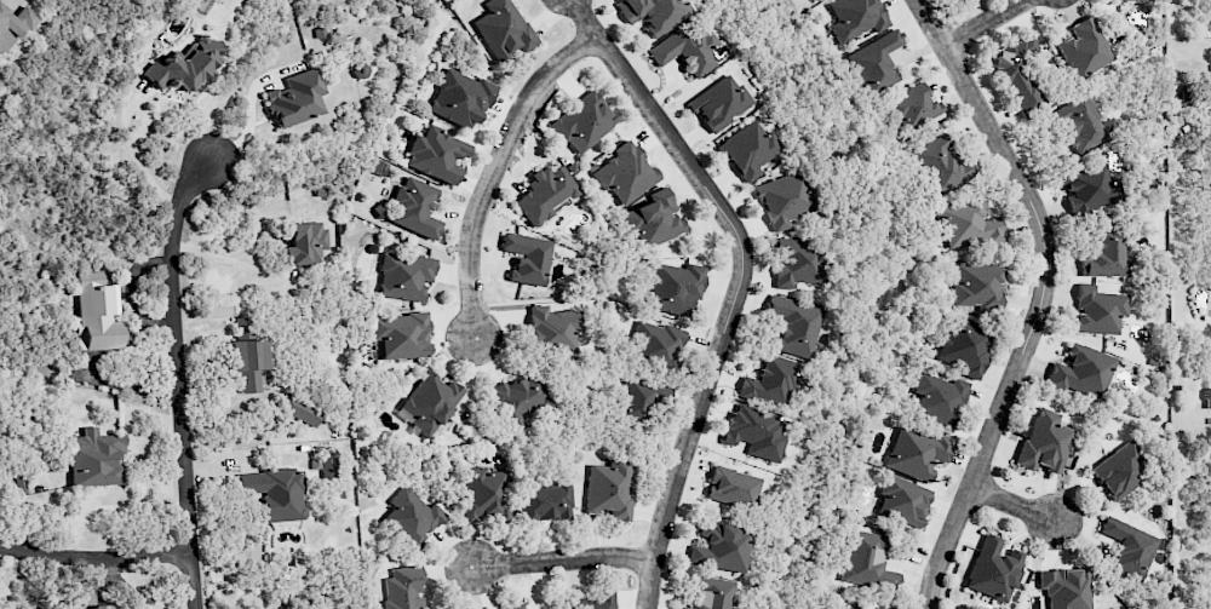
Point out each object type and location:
building: (957, 0)
building: (1133, 0)
building: (653, 13)
building: (856, 18)
building: (13, 24)
road: (991, 25)
building: (501, 28)
building: (1084, 48)
building: (687, 50)
building: (876, 62)
building: (185, 65)
building: (1018, 75)
building: (297, 98)
building: (459, 99)
building: (719, 102)
building: (912, 107)
road: (253, 119)
building: (582, 122)
building: (748, 150)
building: (436, 155)
road: (137, 163)
building: (941, 163)
road: (489, 170)
building: (625, 173)
building: (1087, 188)
building: (544, 194)
building: (786, 200)
building: (414, 206)
building: (654, 219)
building: (968, 224)
building: (304, 243)
building: (1104, 254)
building: (526, 258)
building: (797, 262)
building: (404, 276)
road: (740, 285)
building: (977, 286)
building: (672, 287)
road: (1048, 299)
building: (1098, 310)
building: (97, 316)
building: (241, 323)
building: (794, 326)
building: (552, 327)
building: (400, 335)
building: (655, 343)
building: (963, 346)
building: (247, 362)
building: (1083, 372)
road: (179, 377)
building: (1207, 380)
building: (771, 381)
building: (520, 398)
building: (939, 398)
building: (637, 400)
building: (429, 403)
building: (300, 409)
building: (756, 431)
building: (1043, 443)
building: (916, 452)
building: (94, 458)
building: (1120, 470)
building: (19, 484)
building: (733, 487)
building: (608, 489)
building: (276, 493)
building: (483, 493)
building: (541, 500)
building: (901, 500)
road: (1011, 506)
building: (412, 517)
building: (1129, 547)
building: (721, 548)
road: (96, 555)
road: (563, 558)
building: (866, 561)
building: (993, 569)
building: (403, 588)
building: (1066, 588)
building: (712, 593)
building: (597, 601)
building: (515, 605)
building: (99, 607)
building: (884, 608)

